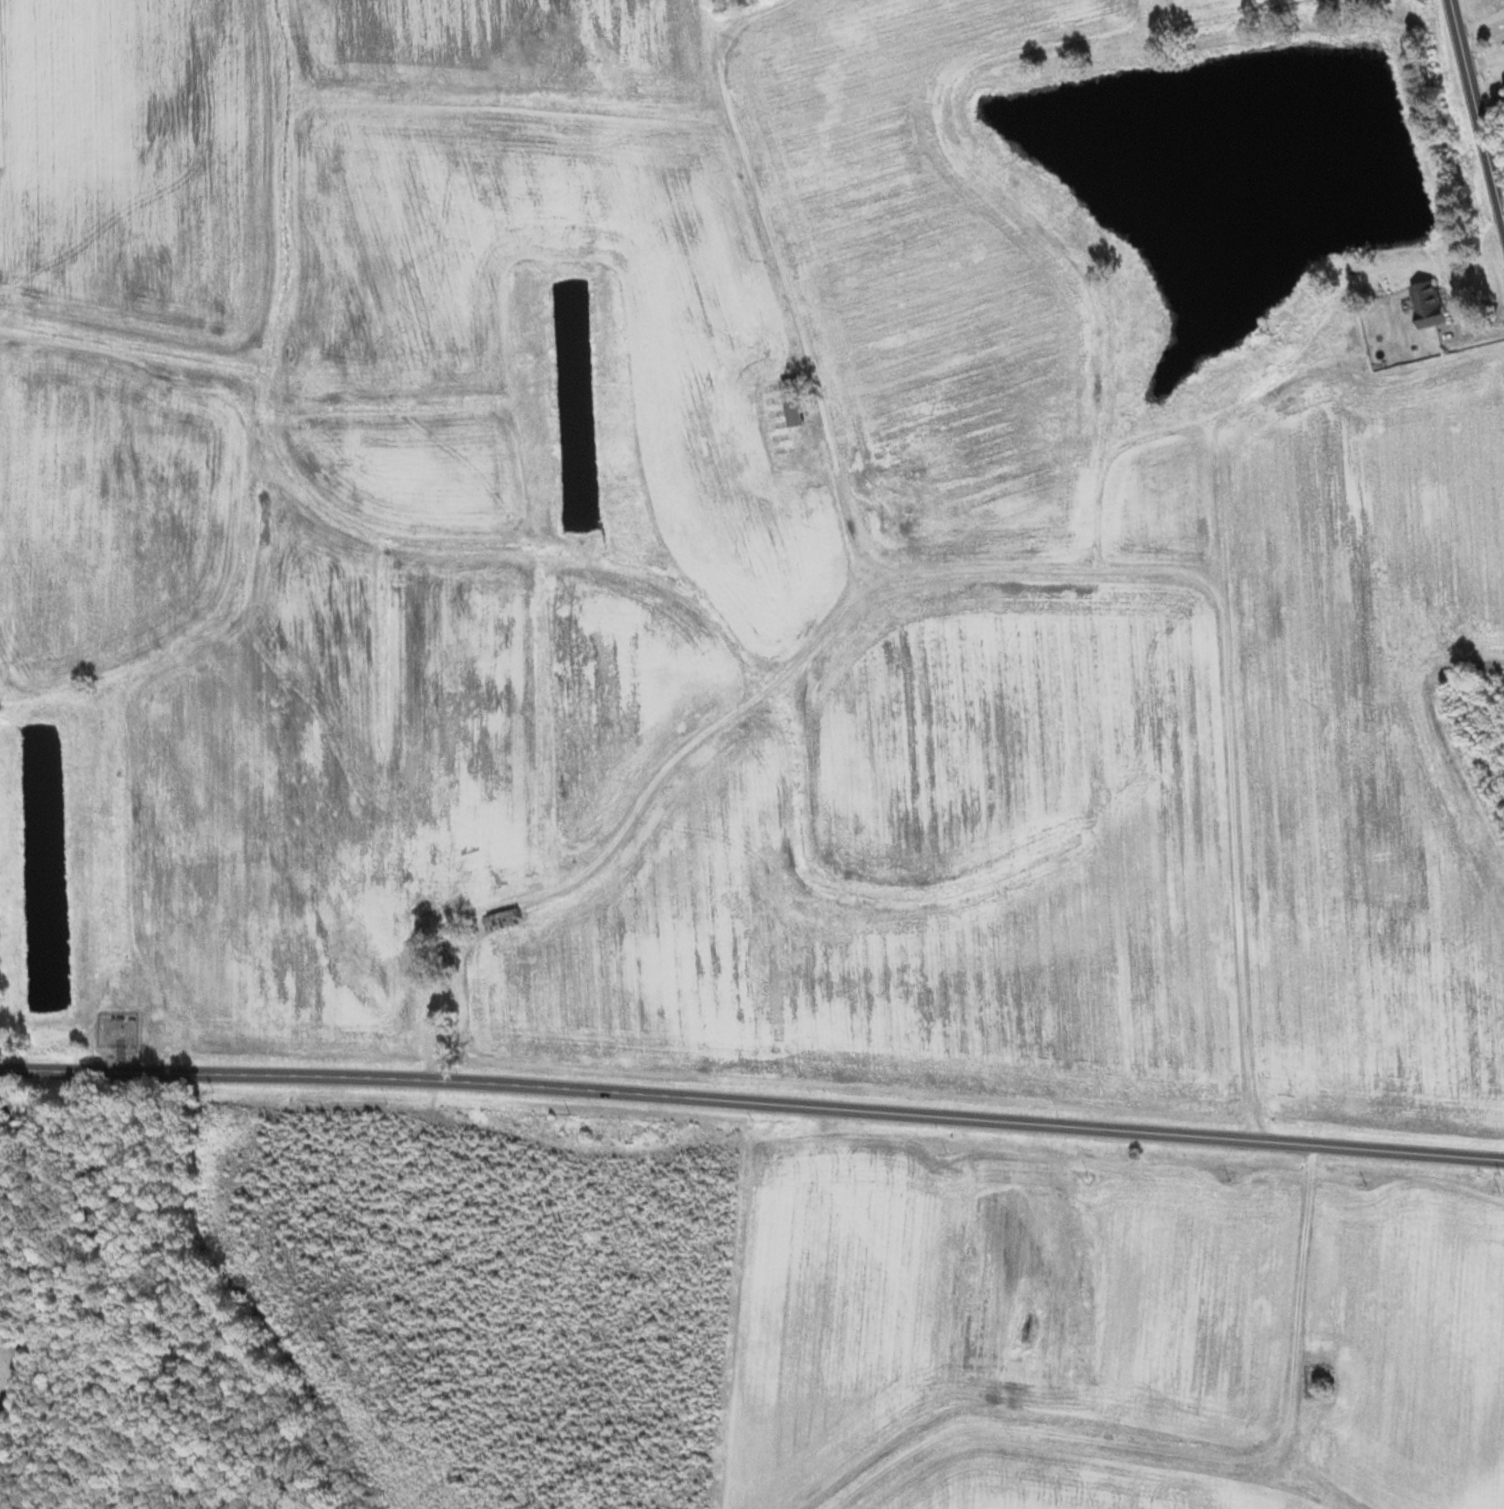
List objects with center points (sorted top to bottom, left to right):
road: (1476, 117)
building: (1428, 304)
building: (792, 403)
building: (713, 425)
building: (730, 470)
road: (490, 1086)
road: (1242, 1139)

